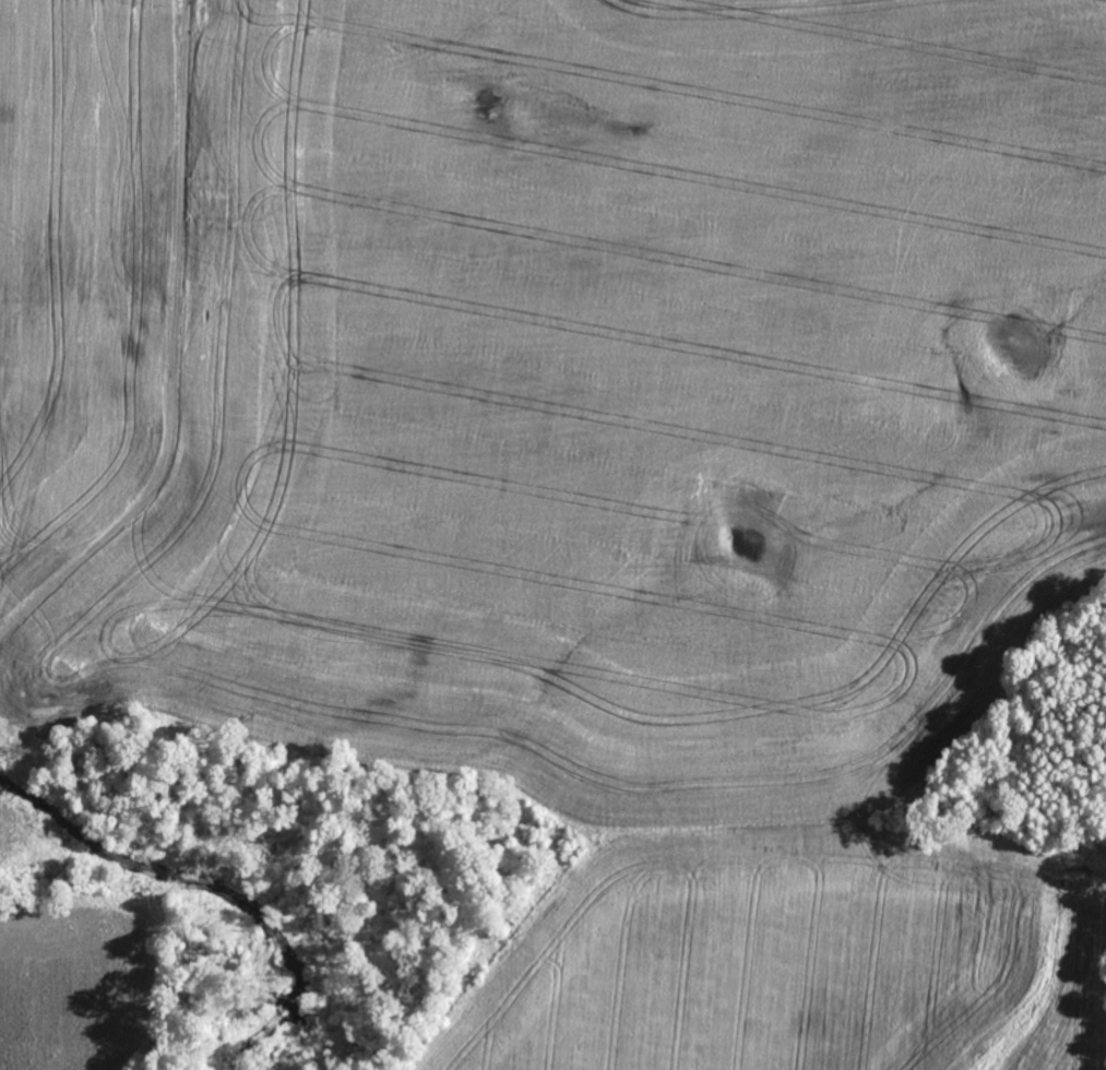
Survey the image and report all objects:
road: (191, 533)

